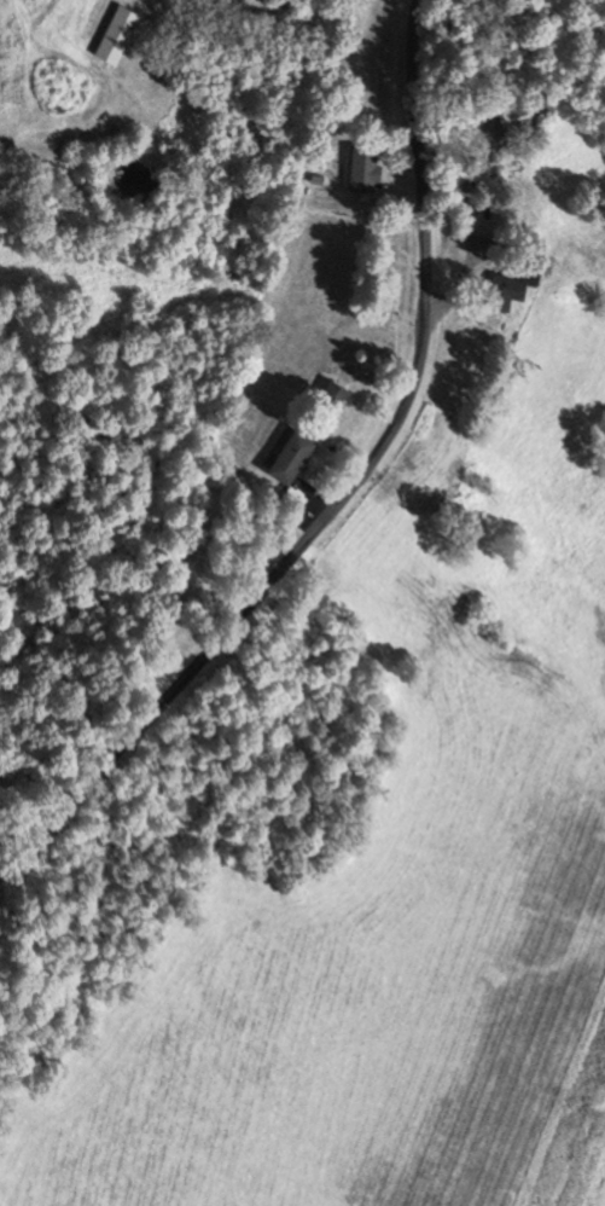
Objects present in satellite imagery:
road: (348, 492)

